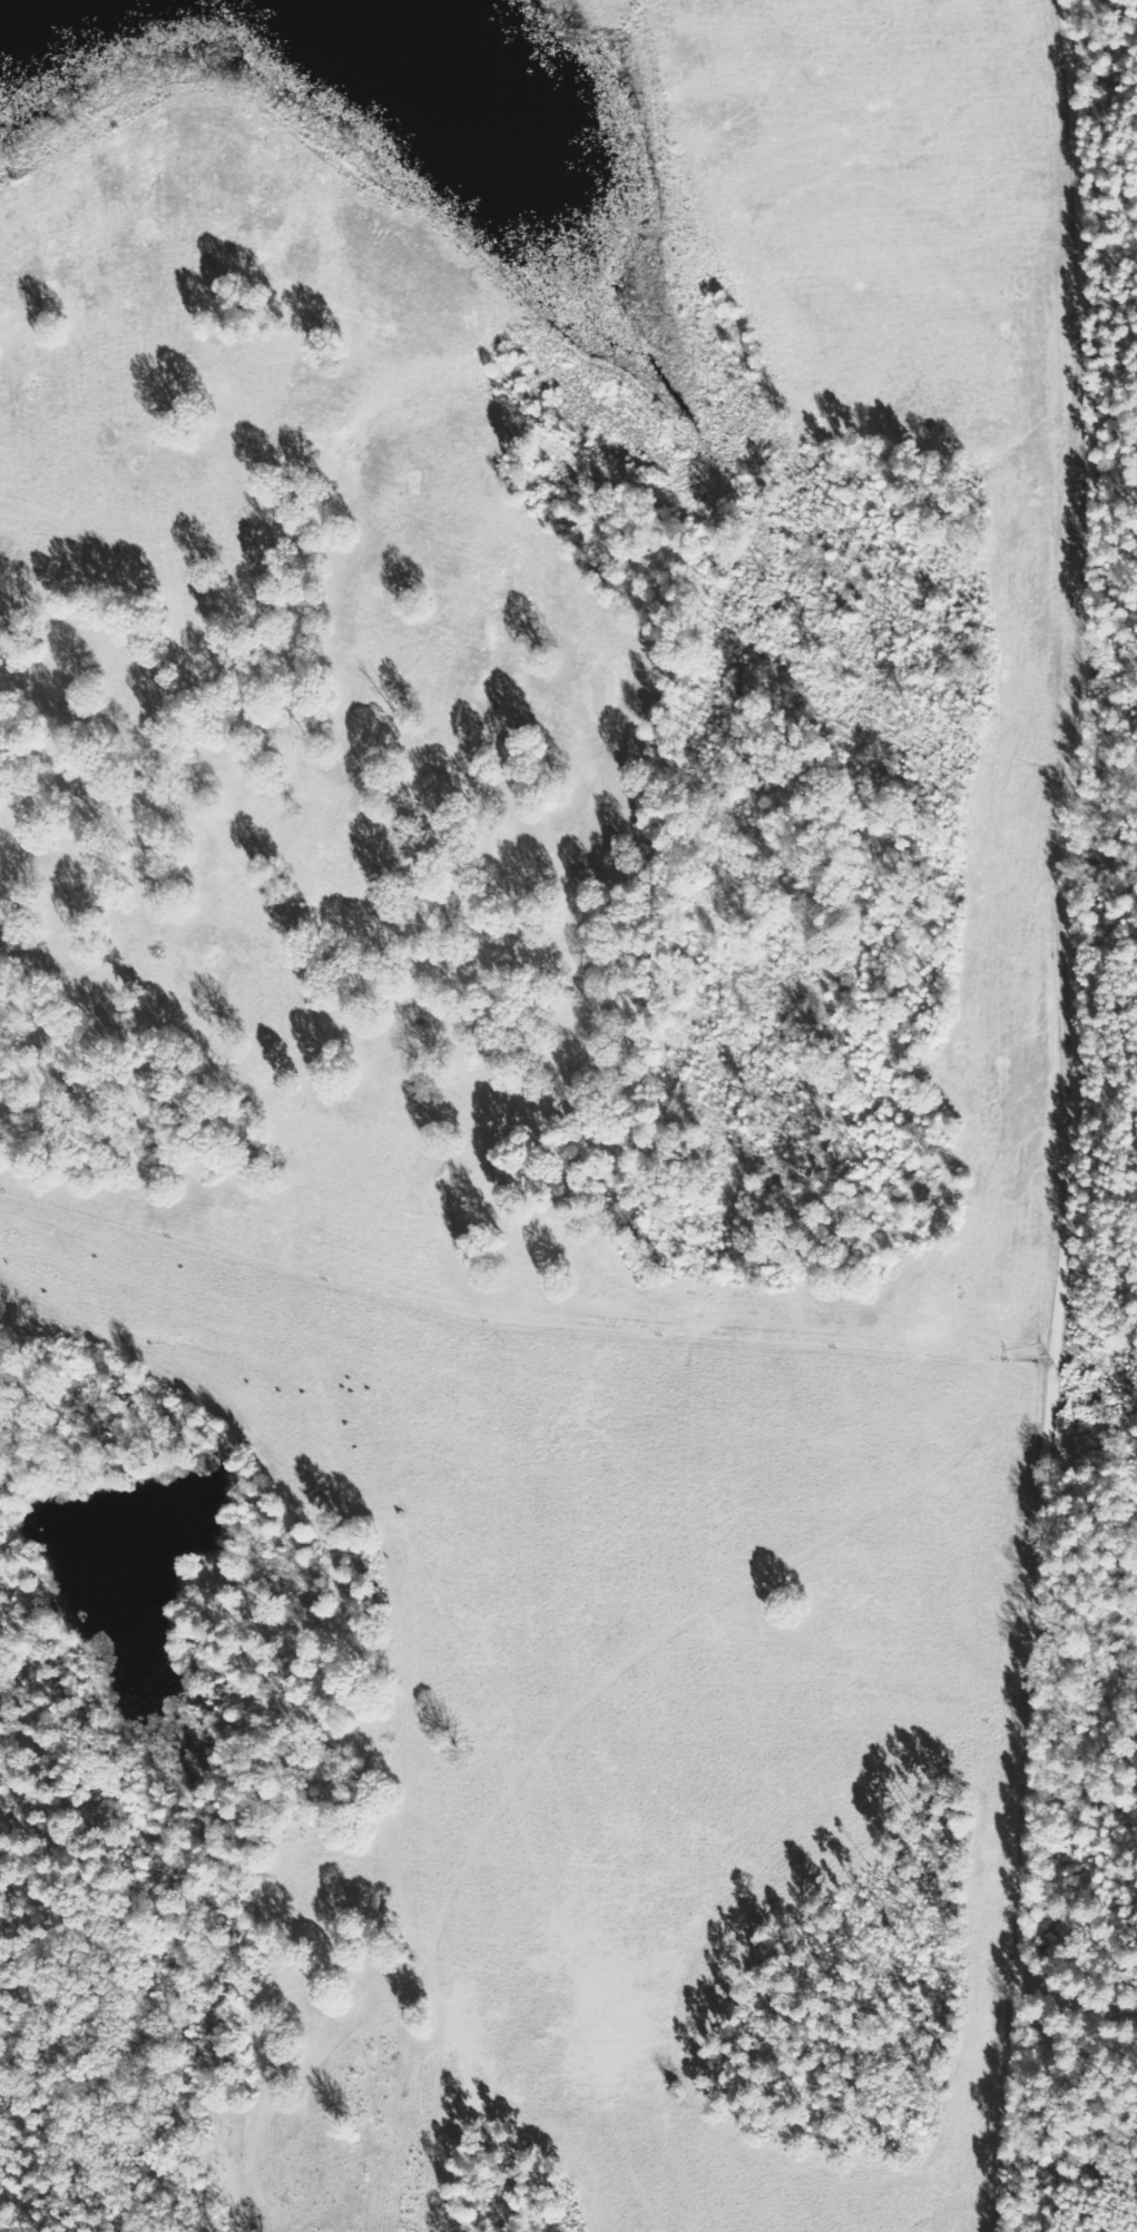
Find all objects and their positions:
road: (1081, 1115)
road: (1092, 1428)
road: (1077, 1992)

